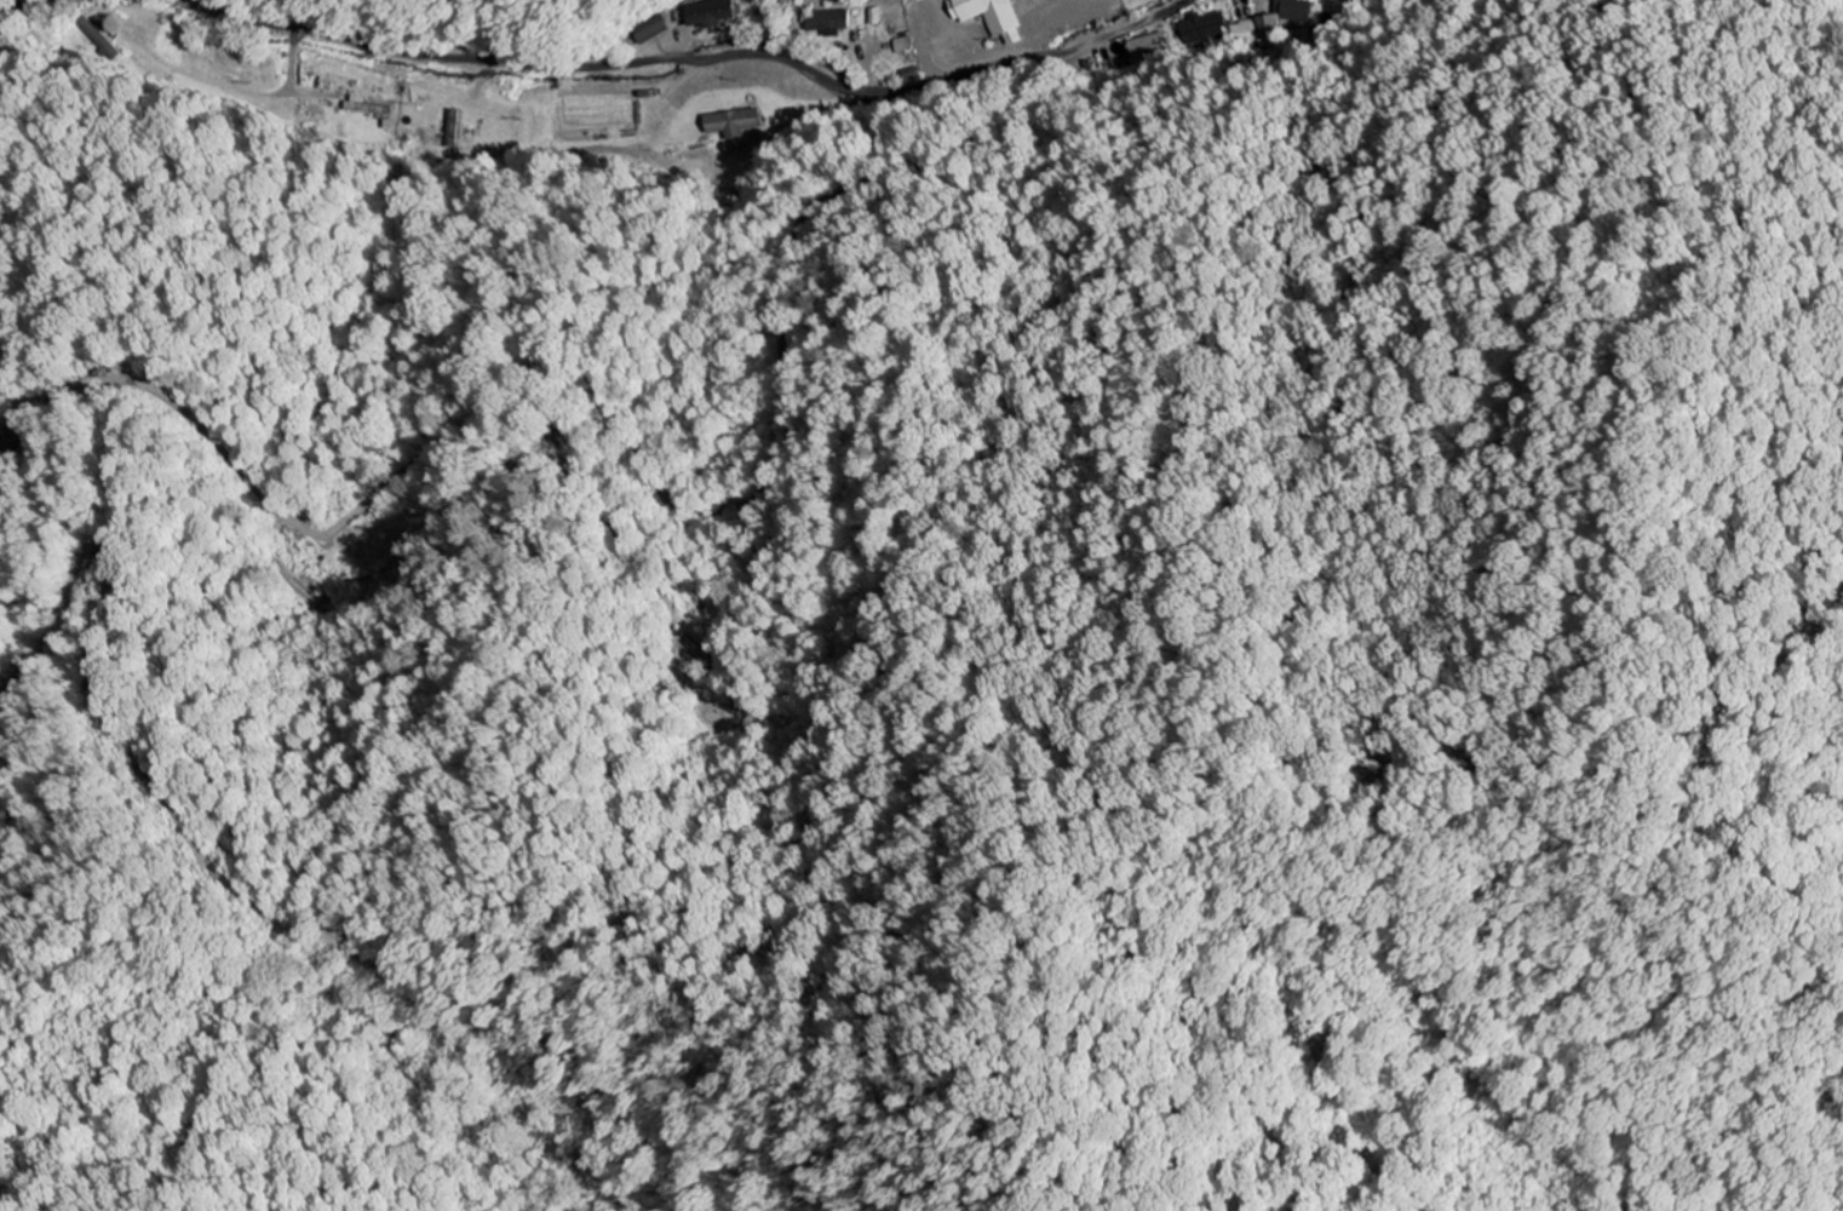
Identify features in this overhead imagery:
road: (16, 4)
building: (711, 15)
building: (989, 15)
building: (827, 23)
building: (1201, 25)
building: (649, 30)
building: (1268, 35)
building: (99, 39)
building: (1149, 47)
road: (404, 51)
road: (912, 88)
building: (367, 109)
building: (734, 125)
road: (697, 589)

